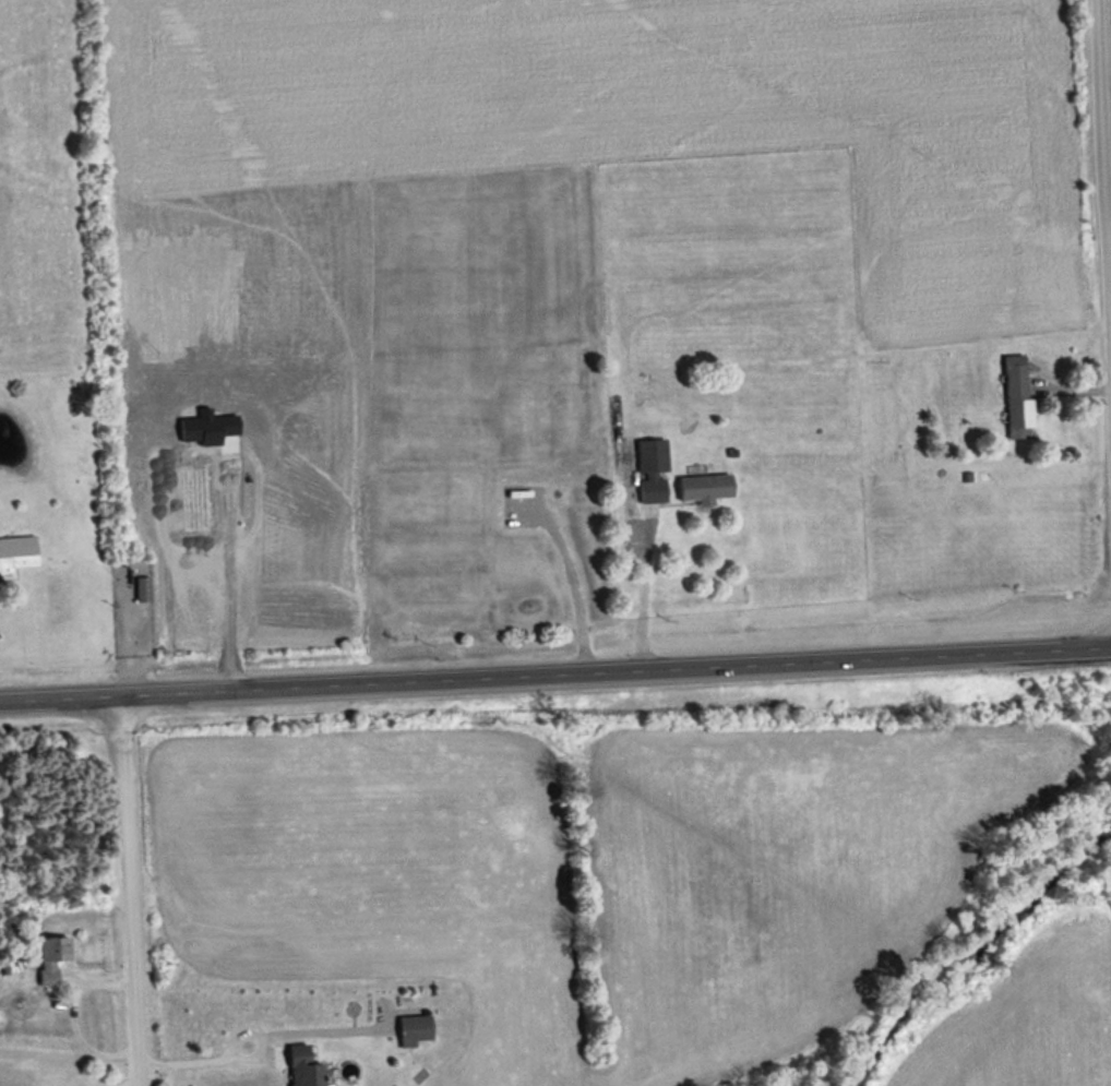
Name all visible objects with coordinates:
road: (1100, 227)
building: (1015, 395)
building: (652, 470)
building: (704, 488)
building: (17, 551)
building: (140, 589)
road: (554, 670)
road: (120, 890)
building: (51, 957)
building: (416, 1029)
building: (303, 1067)

